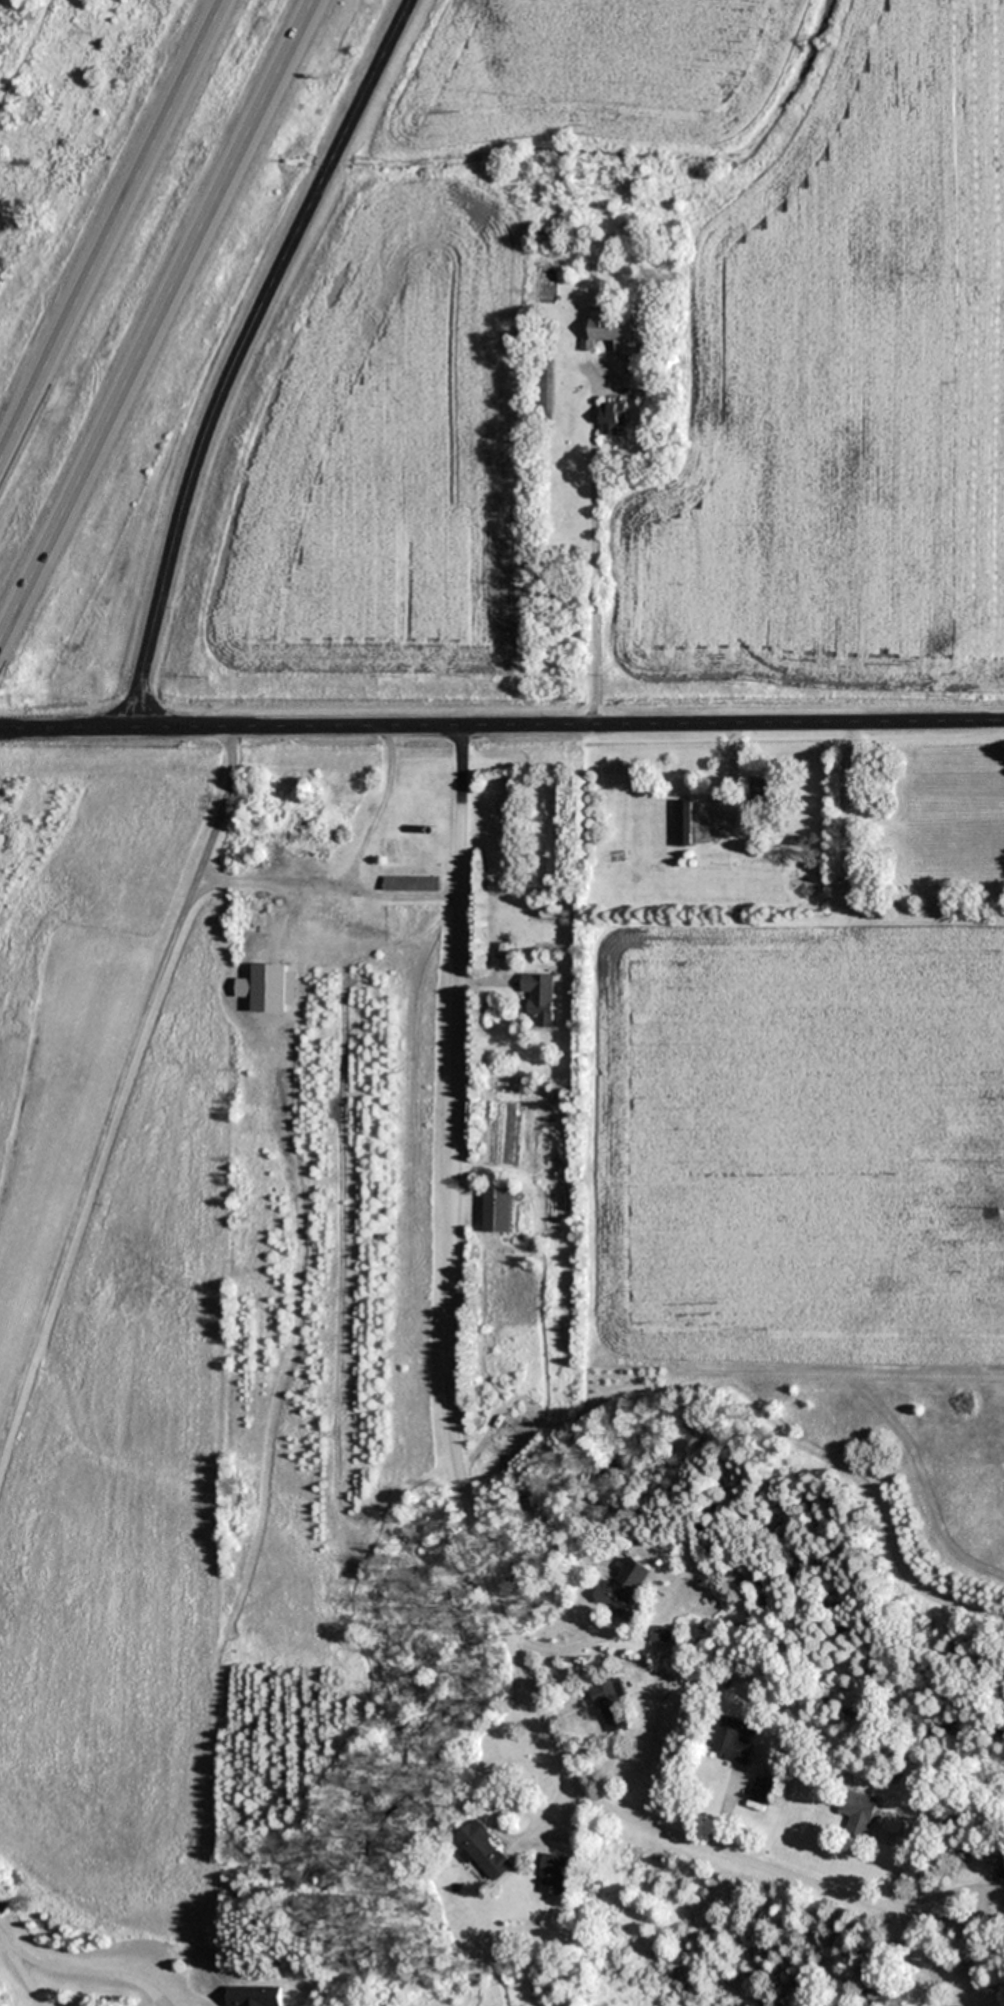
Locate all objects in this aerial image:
road: (111, 226)
road: (157, 319)
building: (612, 332)
road: (238, 351)
building: (545, 393)
building: (615, 417)
road: (501, 722)
building: (769, 790)
building: (681, 822)
road: (192, 878)
road: (281, 881)
building: (411, 883)
road: (399, 893)
building: (505, 950)
building: (540, 992)
road: (94, 1146)
airport runway: (69, 1166)
building: (499, 1209)
road: (453, 1432)
building: (625, 1588)
building: (611, 1704)
building: (732, 1741)
building: (763, 1790)
building: (859, 1811)
building: (486, 1850)
building: (556, 1865)
building: (999, 1882)
road: (7, 1938)
road: (93, 1968)
road: (24, 1977)
building: (256, 1995)

